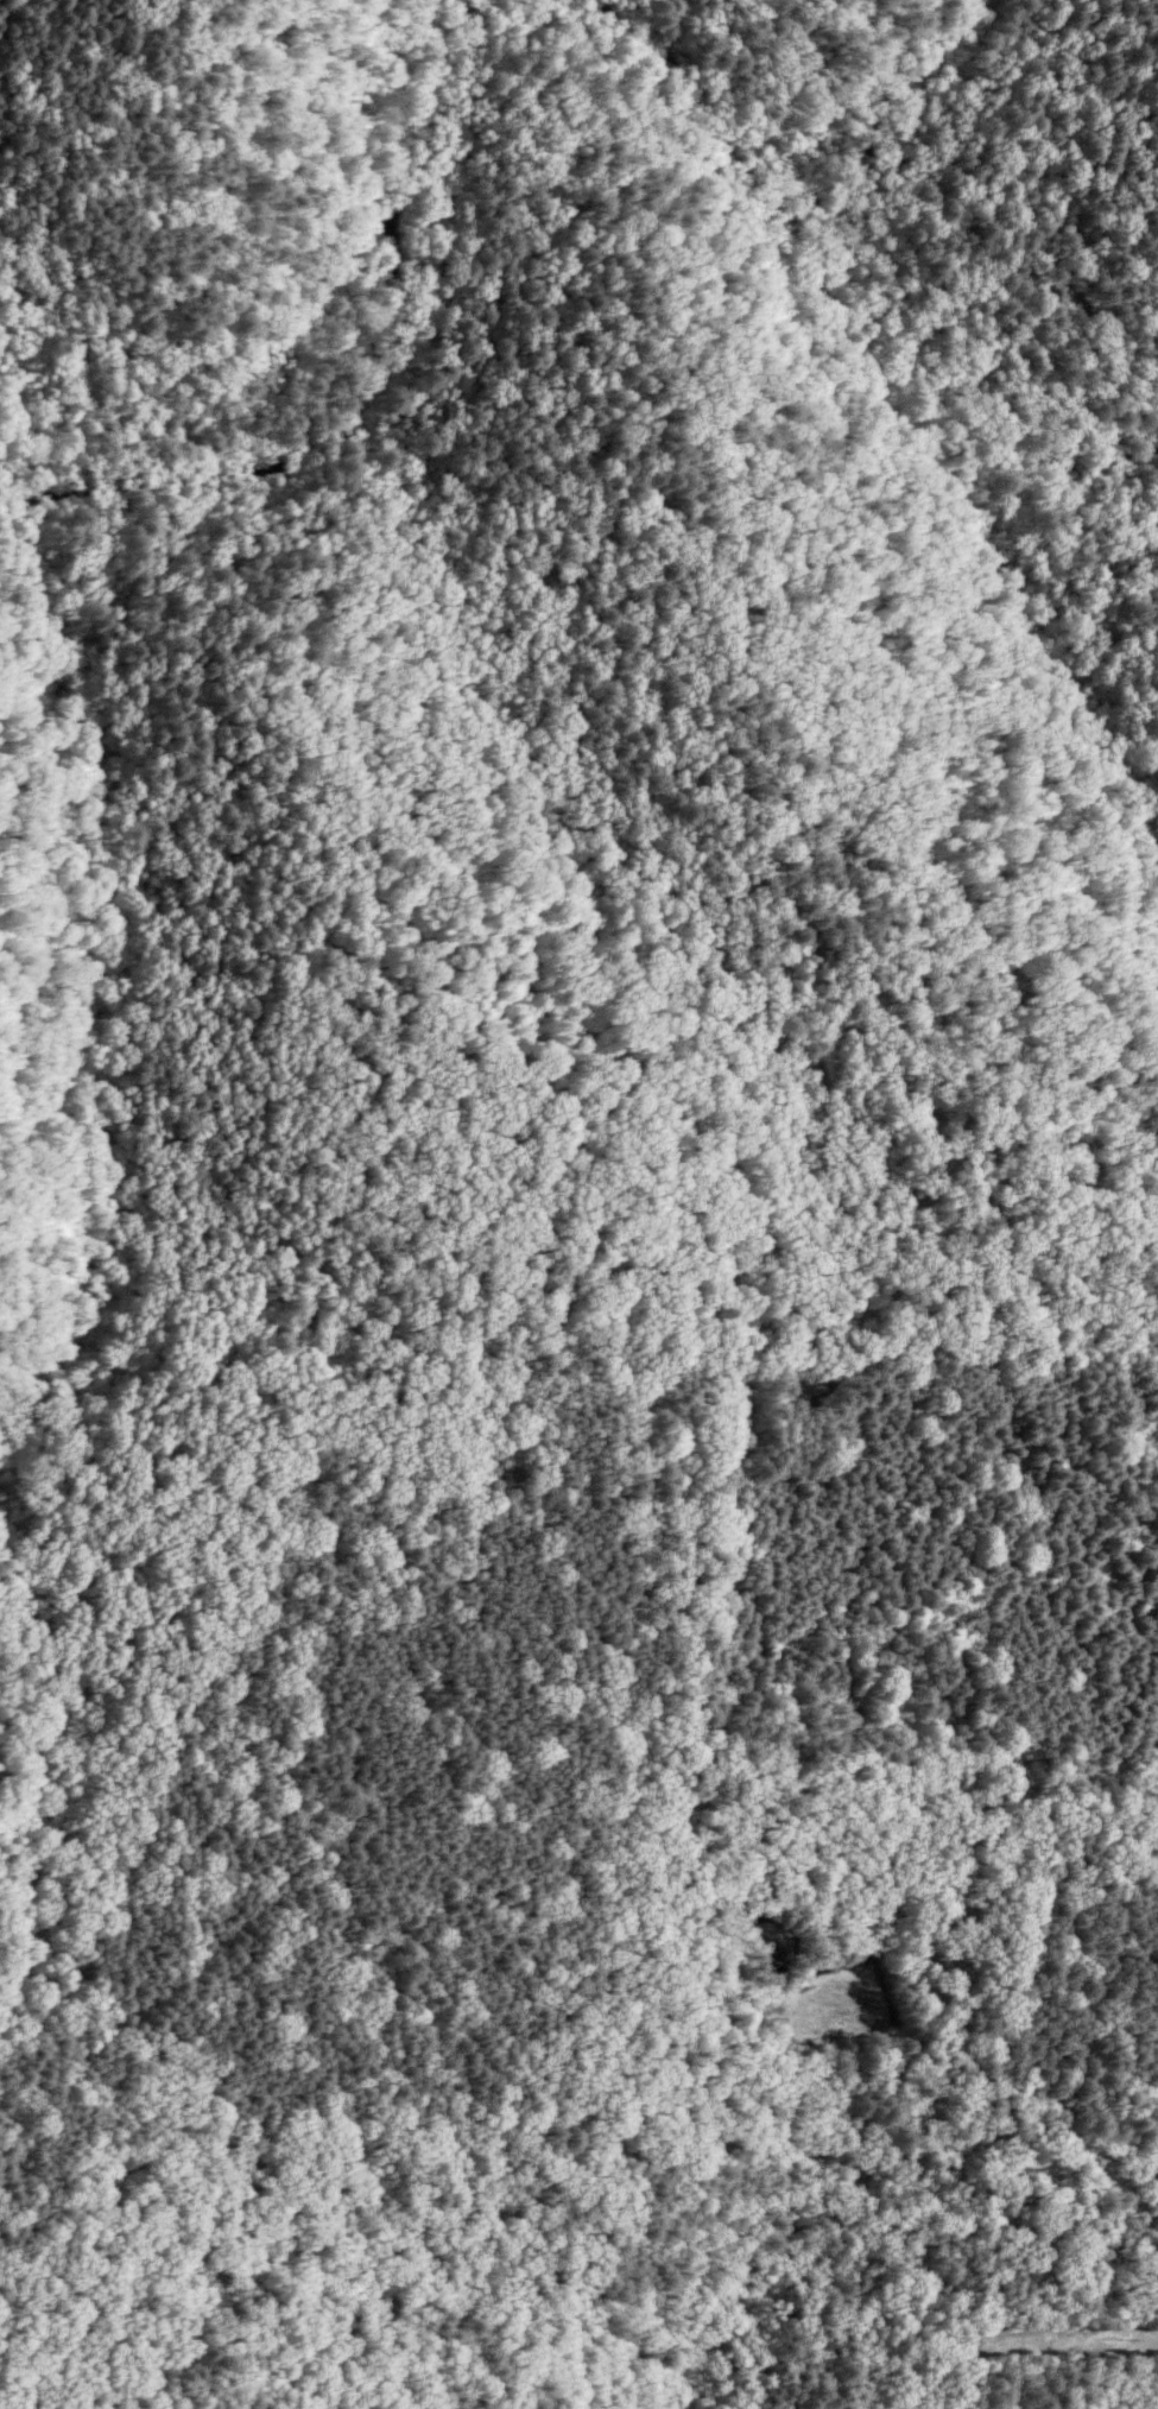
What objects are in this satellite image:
road: (1000, 2250)

